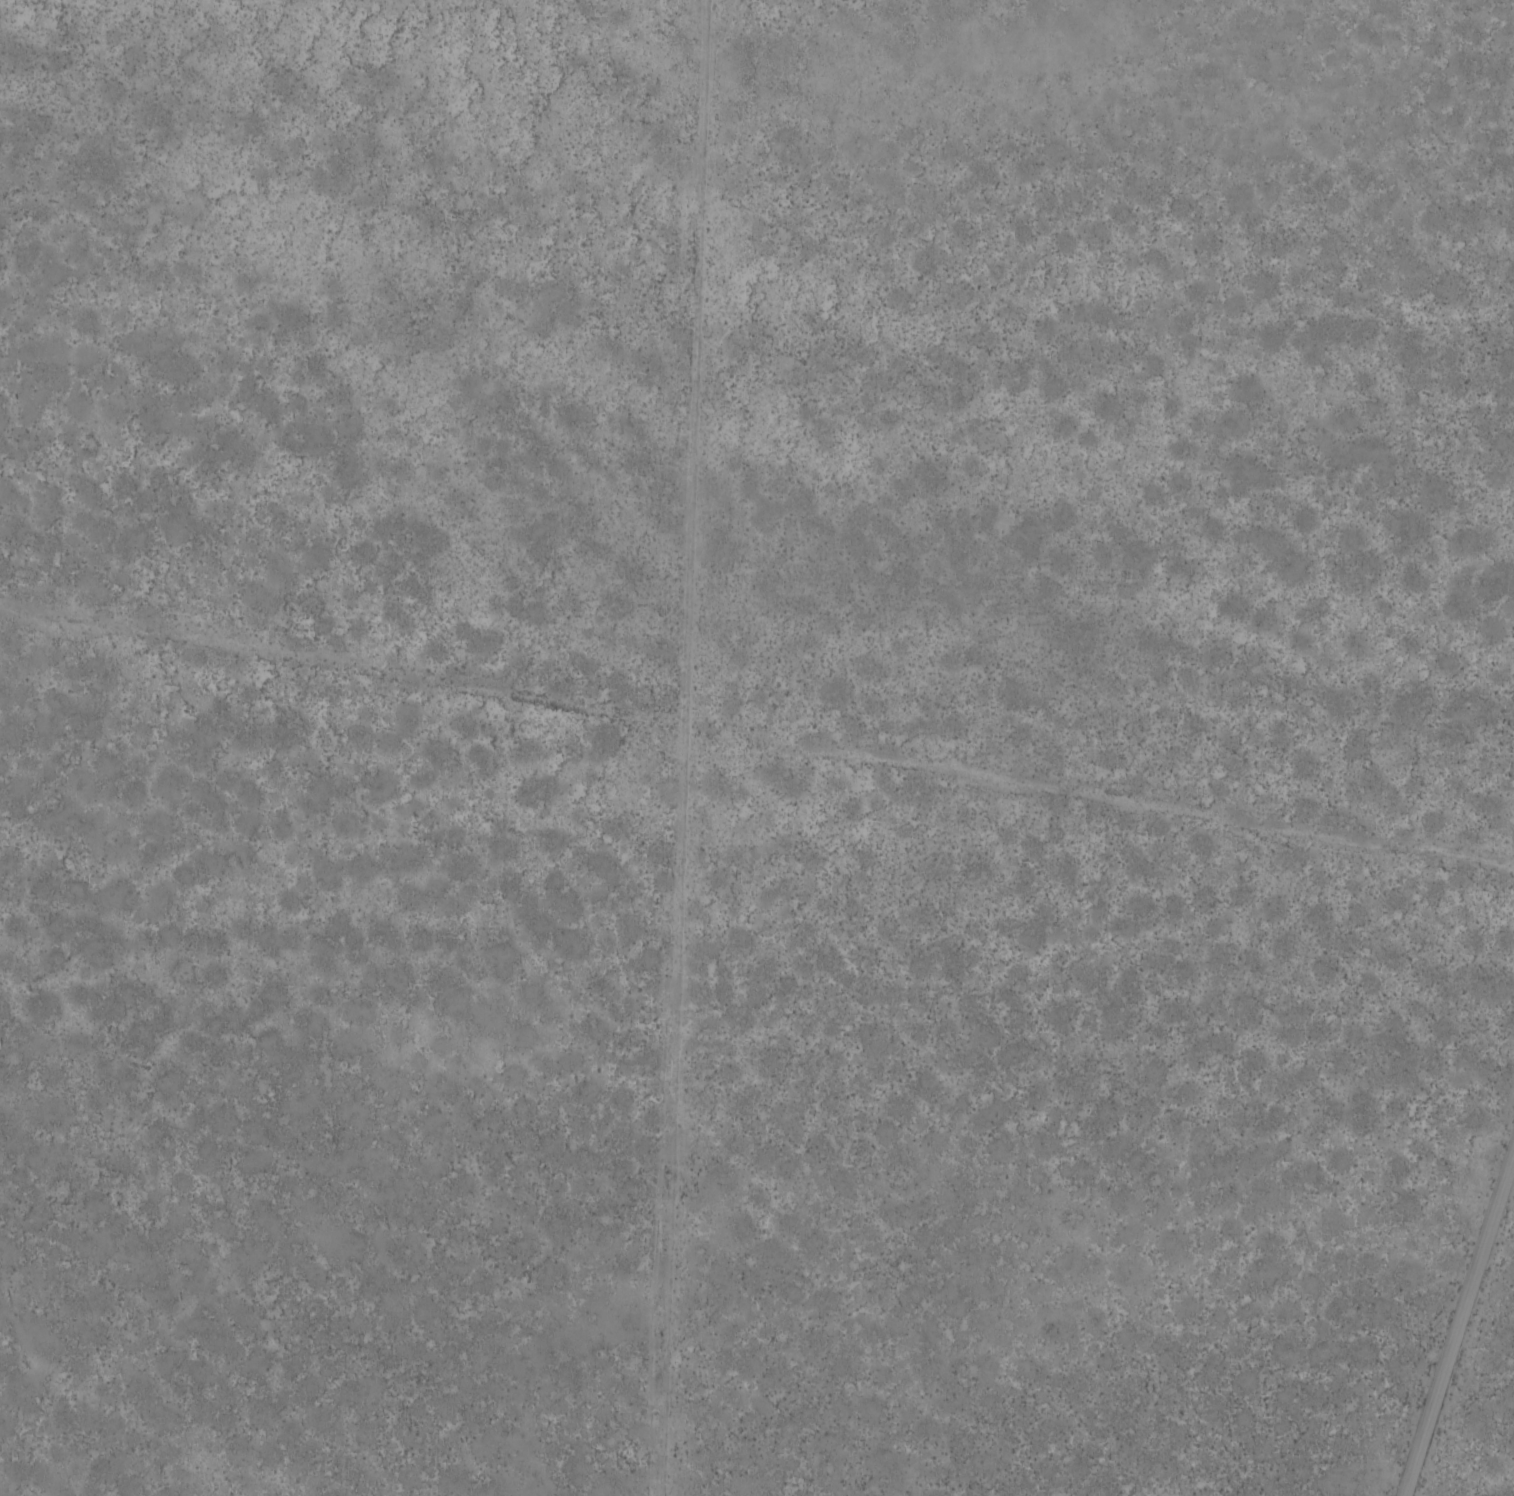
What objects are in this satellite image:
road: (1459, 1329)

